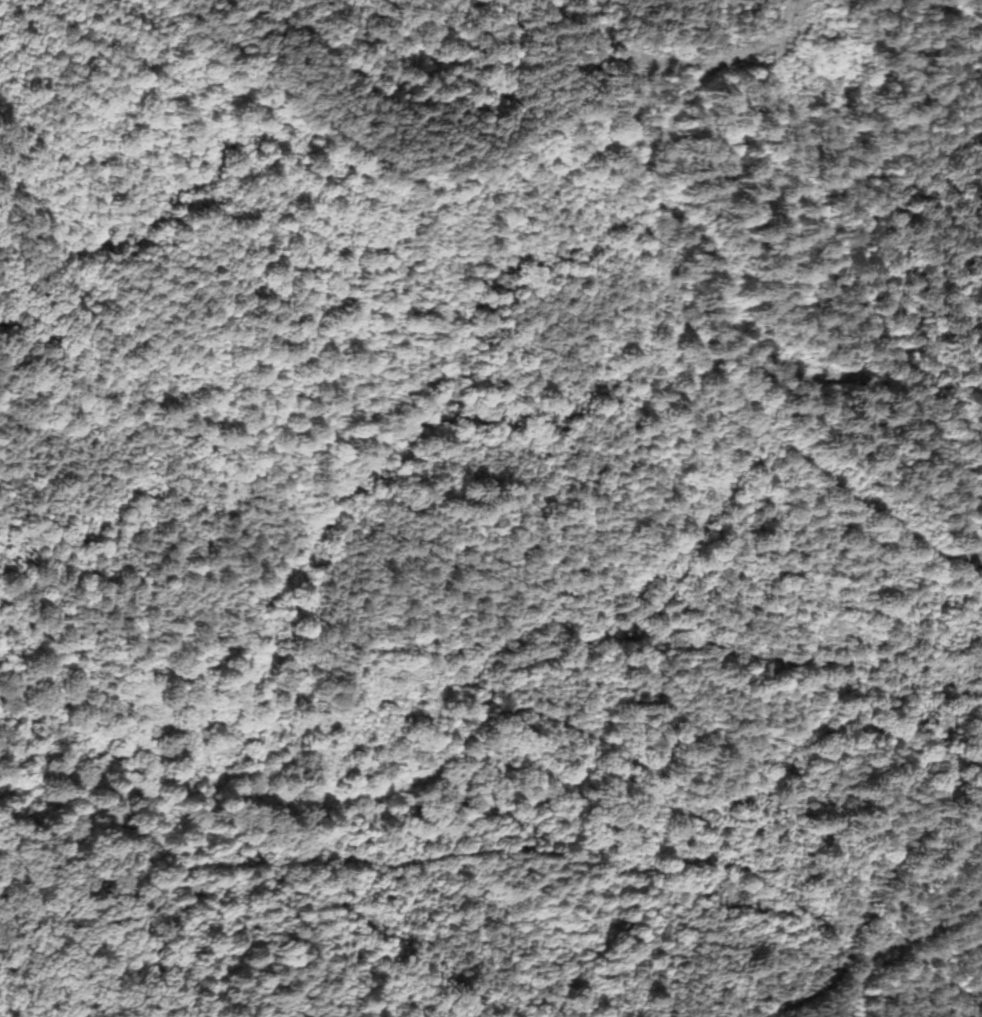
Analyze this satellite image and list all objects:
road: (732, 305)
road: (889, 927)

